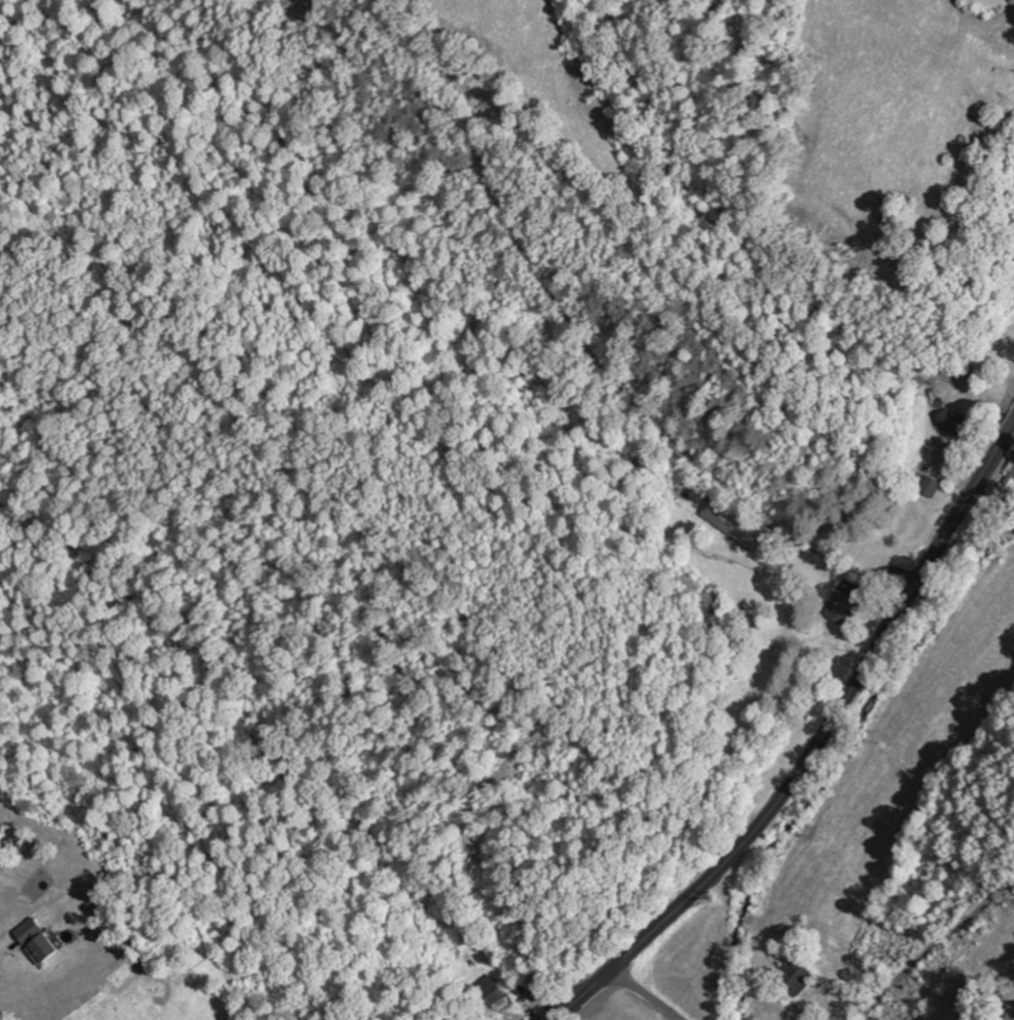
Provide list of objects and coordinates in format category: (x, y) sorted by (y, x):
building: (953, 422)
building: (1011, 473)
building: (930, 486)
building: (733, 524)
building: (841, 608)
road: (815, 745)
building: (35, 928)
road: (6, 945)
building: (49, 946)
building: (33, 950)
building: (794, 977)
building: (490, 988)
road: (647, 994)

